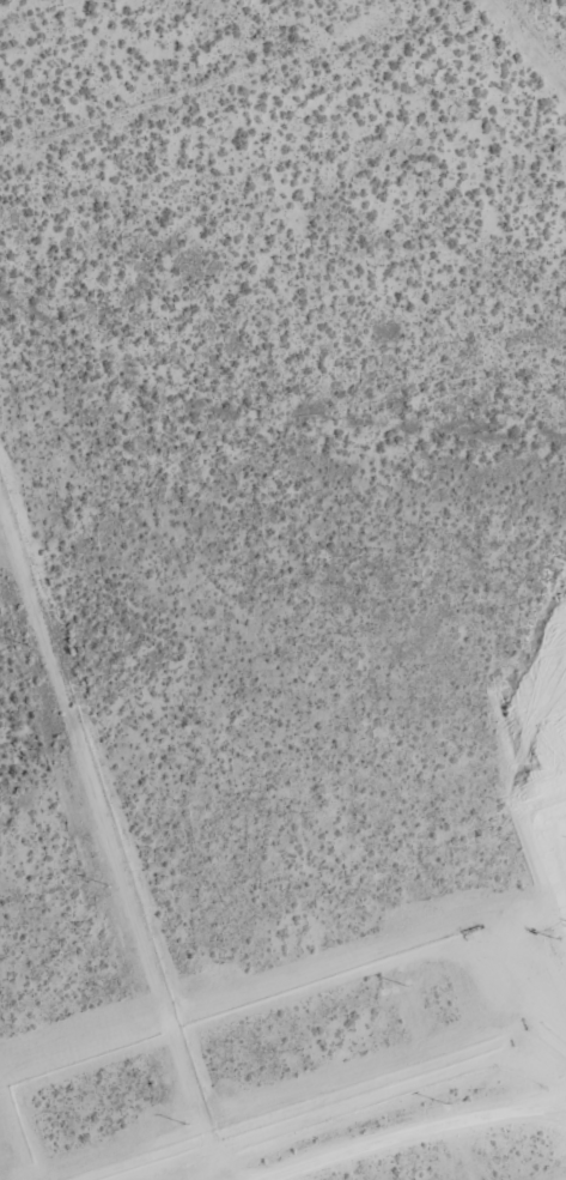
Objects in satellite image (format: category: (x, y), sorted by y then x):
road: (183, 74)
road: (544, 1100)
road: (410, 1125)

